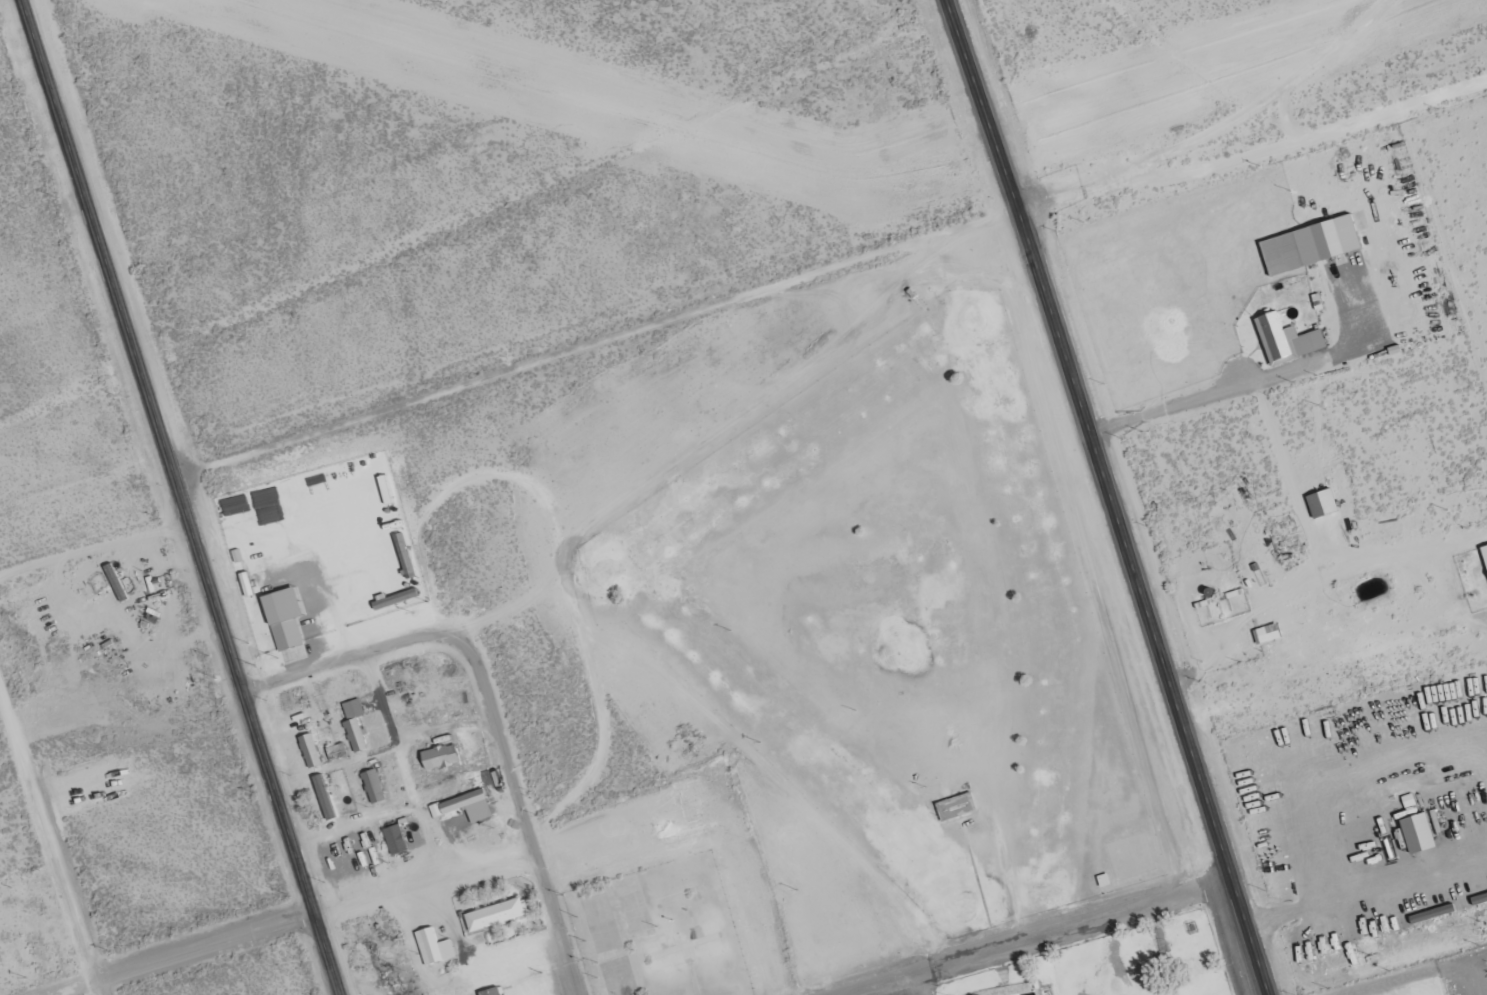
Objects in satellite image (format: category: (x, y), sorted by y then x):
road: (981, 103)
road: (1370, 110)
road: (97, 239)
building: (1312, 245)
road: (806, 276)
building: (1289, 340)
building: (1323, 503)
road: (92, 547)
building: (1485, 552)
building: (405, 556)
building: (395, 598)
road: (1140, 601)
building: (285, 618)
building: (1268, 634)
road: (347, 660)
road: (489, 733)
road: (255, 736)
building: (356, 736)
building: (311, 751)
building: (442, 757)
road: (401, 767)
building: (374, 787)
building: (325, 797)
building: (459, 803)
building: (958, 807)
building: (1420, 834)
road: (50, 840)
building: (396, 840)
road: (385, 895)
building: (1480, 900)
building: (498, 915)
road: (1034, 939)
road: (1223, 940)
building: (434, 947)
road: (913, 986)
building: (492, 992)

